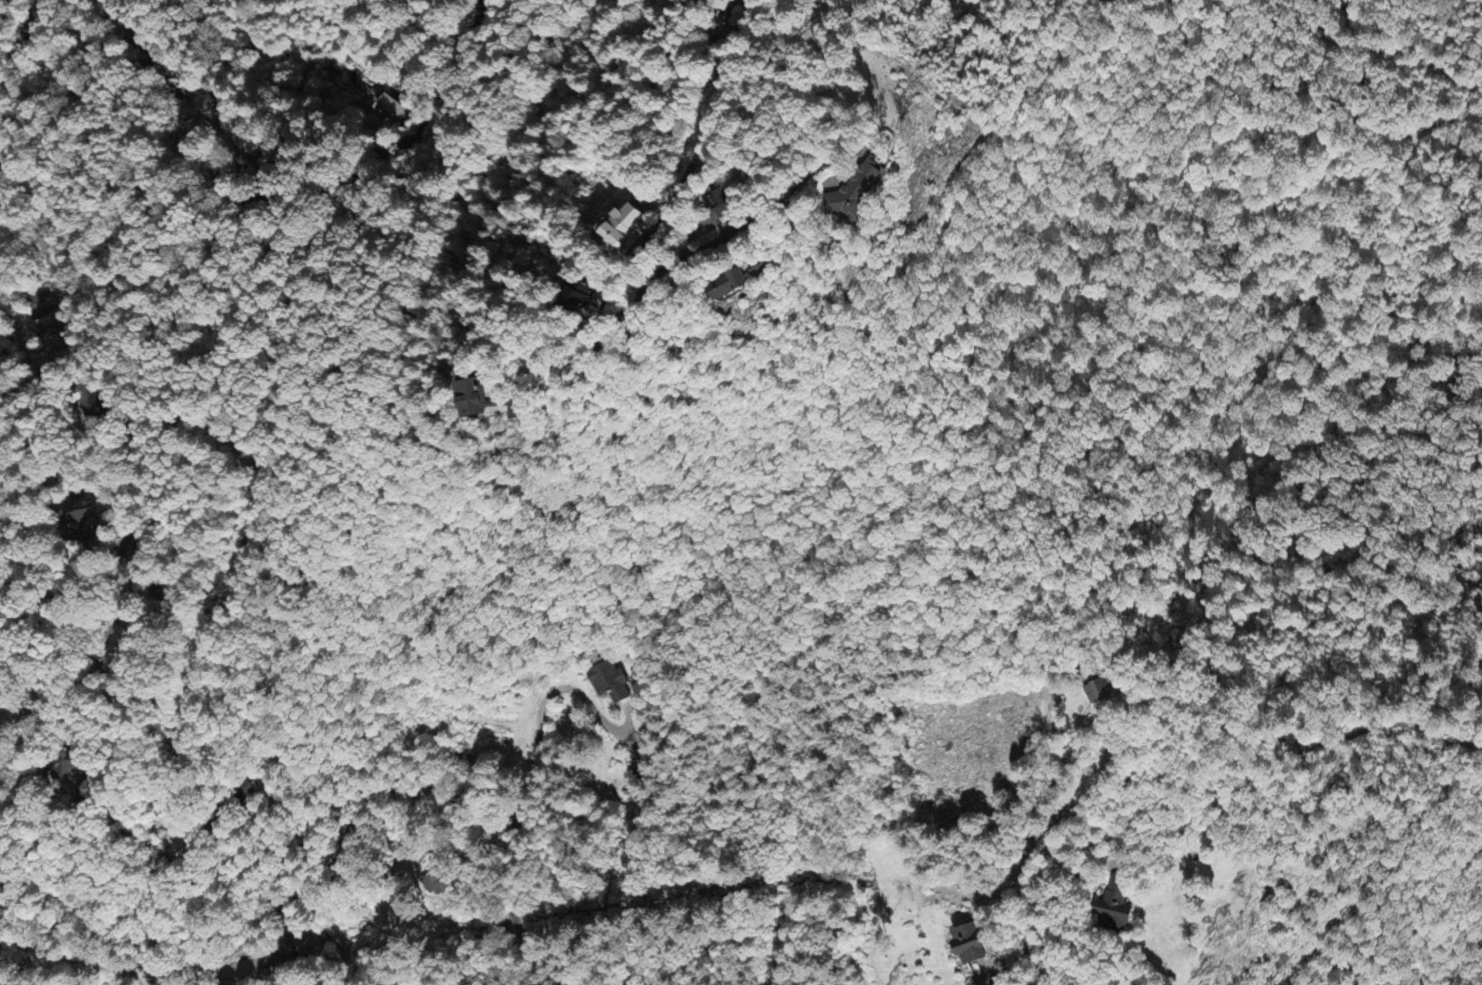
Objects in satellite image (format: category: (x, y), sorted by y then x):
building: (719, 4)
road: (9, 38)
building: (391, 113)
building: (852, 198)
road: (73, 200)
building: (721, 207)
building: (619, 230)
building: (724, 289)
road: (160, 299)
building: (575, 300)
road: (554, 387)
building: (90, 400)
building: (473, 401)
building: (516, 413)
building: (84, 526)
building: (609, 683)
building: (1098, 692)
road: (1380, 727)
road: (502, 757)
building: (64, 767)
building: (638, 779)
road: (1239, 792)
building: (178, 847)
building: (434, 884)
road: (1224, 886)
building: (1114, 905)
road: (181, 921)
building: (969, 945)

